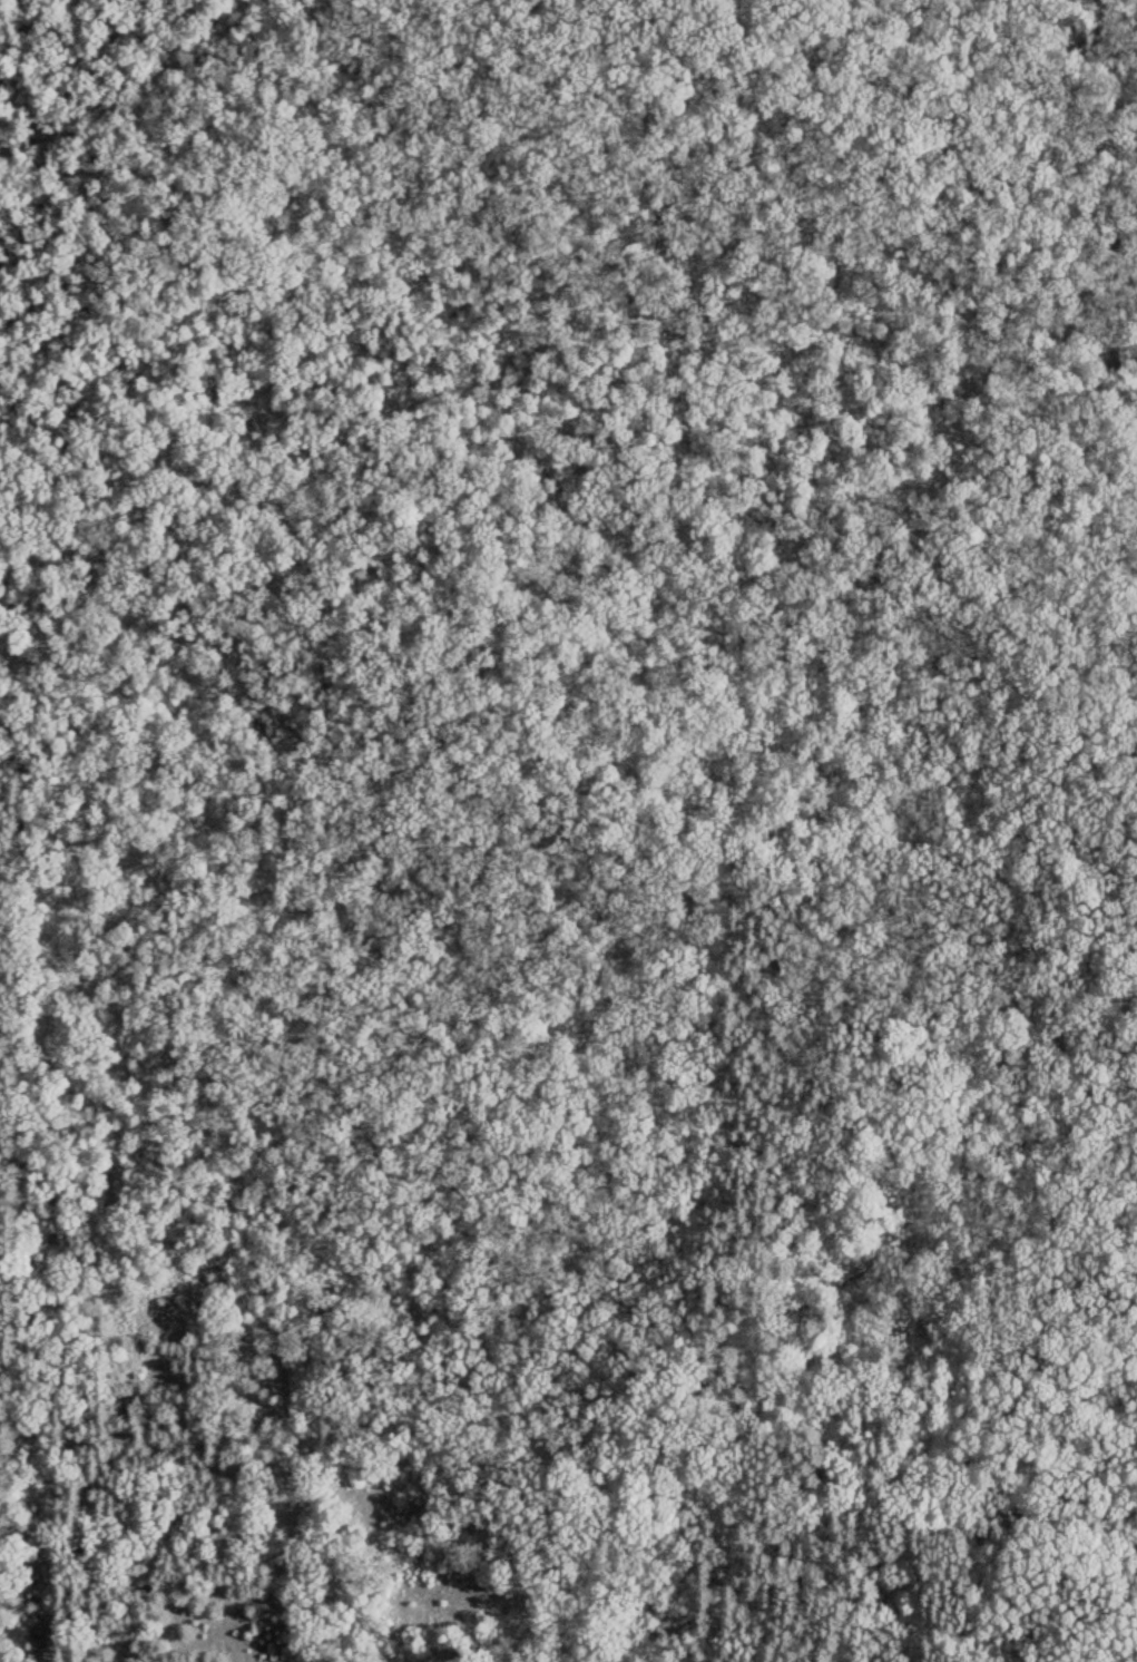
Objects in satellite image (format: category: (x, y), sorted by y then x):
road: (478, 60)

